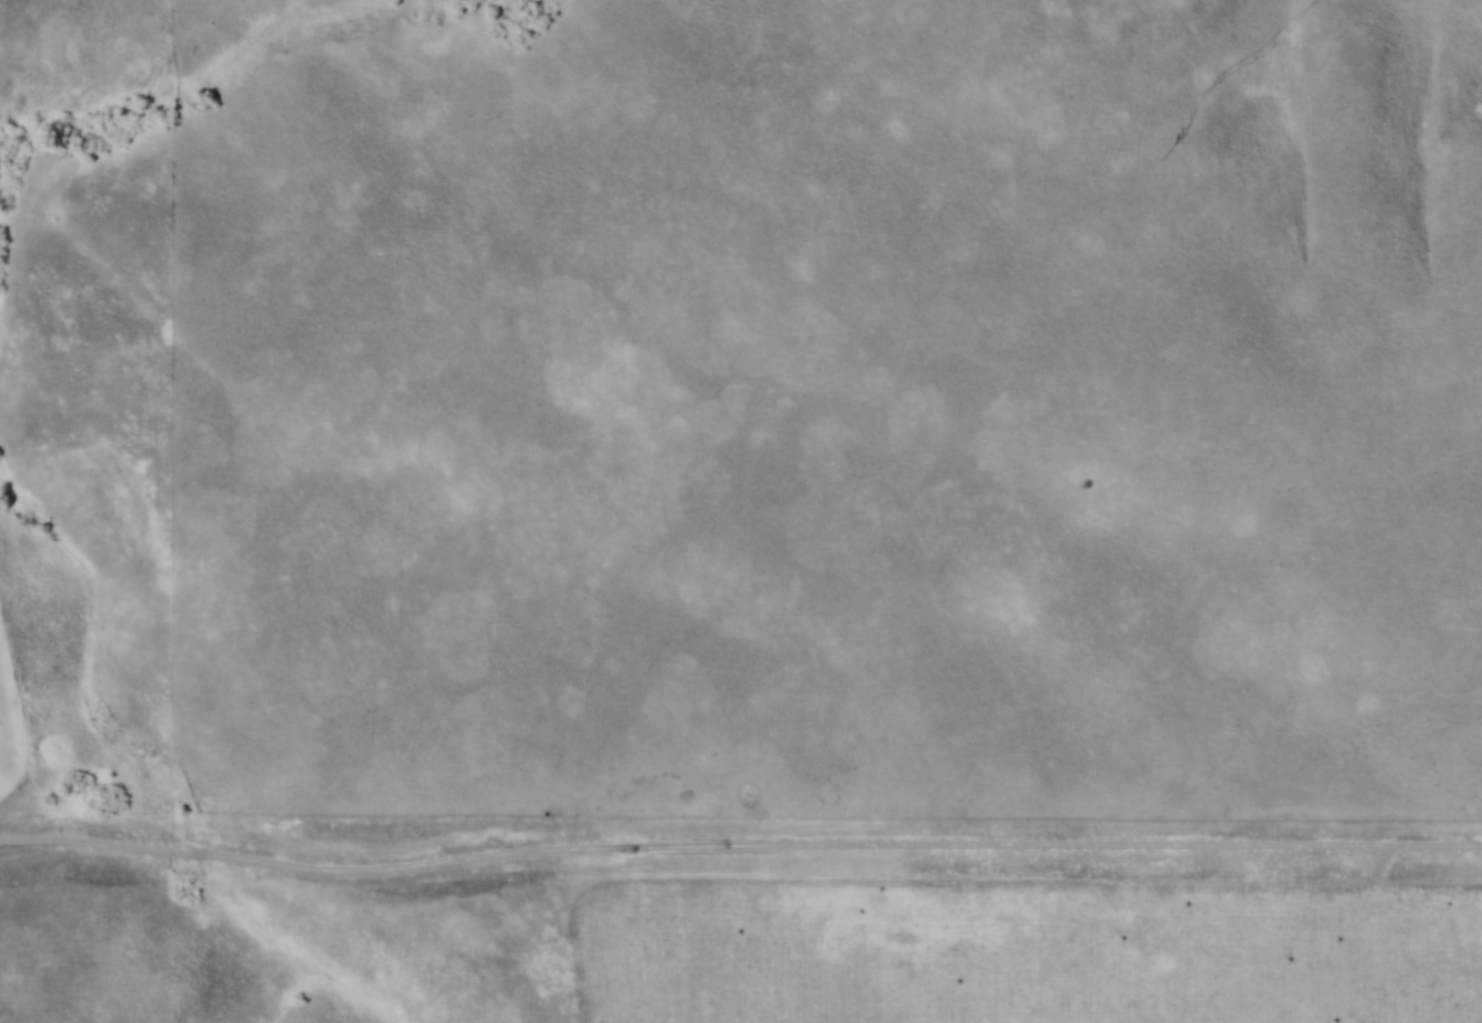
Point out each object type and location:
road: (737, 836)

